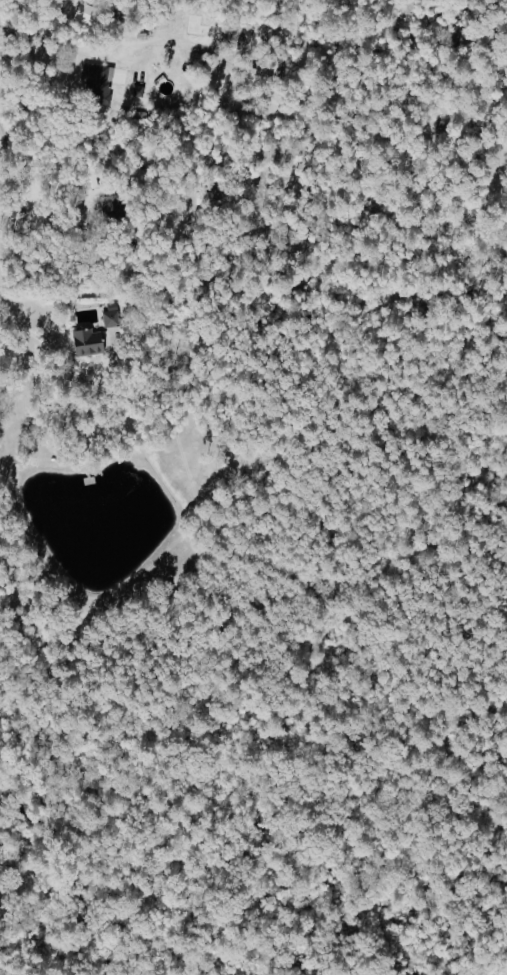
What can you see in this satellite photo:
road: (44, 40)
building: (95, 84)
building: (109, 317)
road: (32, 338)
building: (85, 342)

